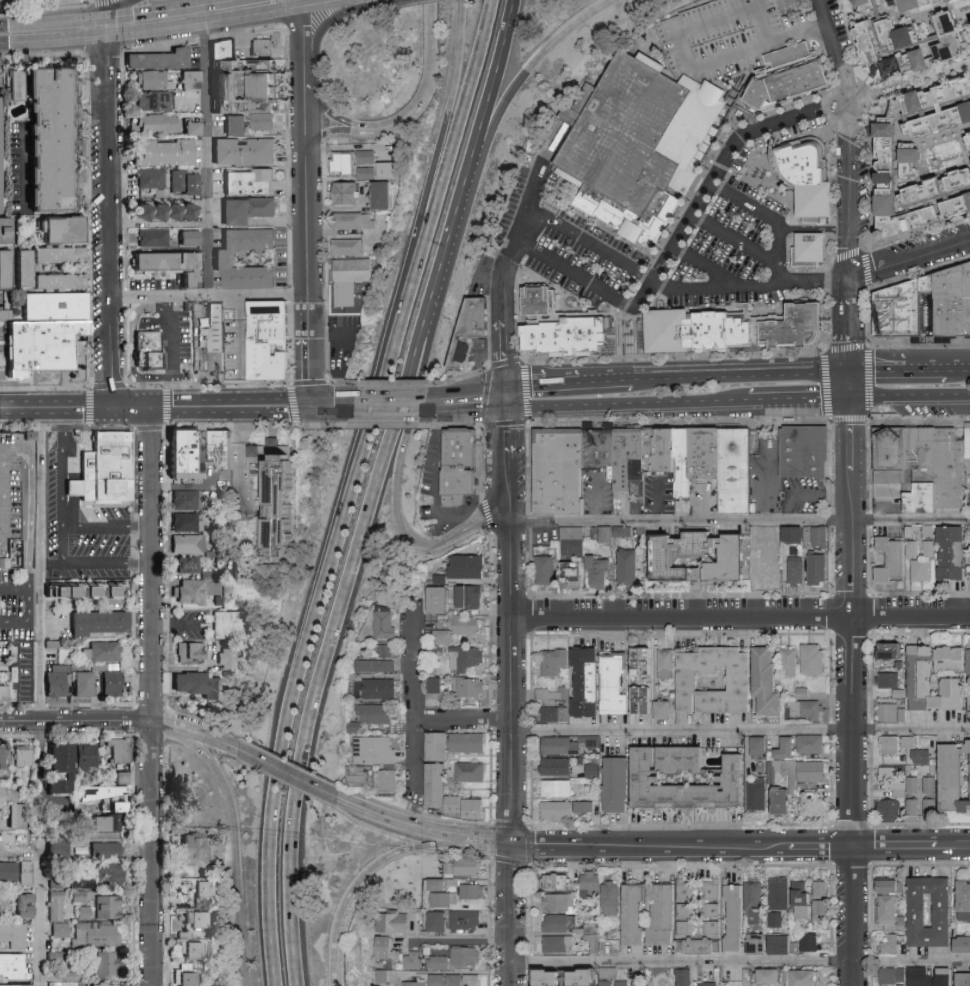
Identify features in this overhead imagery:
road: (370, 0)
road: (808, 1)
building: (872, 1)
building: (922, 2)
road: (305, 6)
road: (337, 7)
road: (159, 8)
road: (106, 9)
road: (124, 9)
traffic signals: (106, 18)
road: (254, 19)
road: (57, 21)
road: (327, 22)
road: (4, 25)
road: (106, 29)
building: (905, 32)
road: (155, 33)
building: (956, 35)
road: (306, 37)
parking lot: (732, 37)
traffic signals: (107, 41)
road: (58, 45)
road: (4, 50)
road: (432, 50)
building: (264, 52)
building: (879, 55)
building: (927, 57)
road: (687, 58)
building: (159, 60)
road: (529, 66)
building: (223, 73)
road: (306, 75)
building: (265, 76)
road: (493, 78)
building: (790, 78)
building: (152, 80)
building: (189, 80)
road: (910, 84)
building: (16, 89)
road: (307, 89)
building: (263, 100)
road: (450, 100)
road: (463, 100)
building: (152, 101)
building: (929, 104)
building: (914, 106)
road: (326, 110)
road: (401, 118)
building: (262, 122)
building: (155, 124)
building: (236, 126)
road: (362, 126)
building: (191, 129)
road: (338, 130)
road: (850, 135)
building: (51, 140)
building: (245, 151)
building: (163, 153)
building: (638, 154)
building: (365, 157)
building: (919, 160)
road: (205, 161)
building: (340, 162)
building: (365, 173)
building: (0, 175)
building: (893, 177)
building: (963, 178)
building: (152, 179)
building: (249, 182)
building: (184, 183)
building: (812, 189)
building: (931, 189)
building: (345, 194)
building: (381, 195)
road: (553, 201)
building: (961, 204)
building: (246, 210)
building: (164, 212)
road: (691, 215)
building: (929, 215)
road: (773, 220)
building: (352, 221)
road: (109, 224)
building: (61, 231)
building: (5, 232)
road: (523, 235)
parking lot: (690, 236)
building: (152, 237)
road: (449, 237)
building: (189, 238)
road: (733, 240)
building: (346, 247)
road: (308, 248)
building: (815, 254)
building: (59, 255)
road: (909, 257)
building: (223, 259)
building: (170, 265)
road: (705, 266)
building: (4, 269)
building: (23, 269)
building: (355, 275)
building: (59, 282)
road: (593, 285)
road: (750, 289)
road: (209, 296)
building: (538, 298)
building: (953, 302)
building: (54, 306)
building: (900, 311)
building: (6, 318)
road: (501, 320)
building: (798, 335)
building: (564, 338)
building: (271, 339)
building: (473, 339)
building: (674, 340)
building: (727, 342)
building: (213, 344)
building: (39, 347)
road: (170, 352)
building: (149, 353)
road: (646, 360)
road: (896, 367)
road: (957, 367)
traffic signals: (849, 368)
road: (527, 369)
road: (741, 373)
road: (608, 380)
road: (544, 383)
traffic signals: (506, 385)
road: (7, 392)
road: (467, 395)
road: (506, 397)
road: (909, 404)
road: (801, 405)
traffic signals: (849, 405)
road: (229, 406)
traffic signals: (310, 406)
road: (333, 406)
road: (392, 406)
road: (130, 407)
traffic signals: (149, 407)
road: (468, 407)
road: (630, 407)
road: (86, 408)
traffic signals: (111, 408)
road: (20, 409)
road: (51, 409)
traffic signals: (507, 409)
road: (507, 433)
road: (404, 450)
building: (598, 453)
building: (704, 457)
building: (808, 458)
building: (660, 459)
road: (0, 461)
building: (465, 463)
building: (681, 463)
building: (628, 464)
building: (924, 464)
building: (188, 467)
building: (226, 467)
building: (558, 472)
building: (741, 472)
building: (107, 478)
road: (771, 480)
parking lot: (7, 483)
road: (509, 489)
building: (285, 493)
road: (807, 494)
building: (17, 497)
building: (186, 499)
road: (26, 508)
road: (739, 521)
building: (188, 522)
road: (105, 524)
road: (479, 524)
building: (624, 530)
road: (60, 531)
building: (608, 533)
building: (796, 533)
building: (770, 534)
building: (820, 535)
building: (574, 540)
building: (189, 543)
building: (930, 547)
building: (954, 551)
building: (898, 554)
building: (705, 556)
road: (151, 563)
road: (40, 564)
building: (190, 564)
building: (468, 565)
building: (629, 566)
building: (547, 568)
building: (818, 568)
building: (767, 569)
building: (797, 569)
building: (922, 569)
building: (598, 570)
building: (575, 573)
building: (441, 578)
road: (320, 588)
building: (80, 590)
building: (118, 590)
road: (20, 591)
building: (191, 591)
building: (472, 595)
building: (442, 598)
road: (29, 607)
road: (740, 614)
parking lot: (18, 619)
building: (389, 619)
building: (101, 621)
building: (467, 623)
road: (20, 624)
road: (173, 624)
road: (851, 631)
building: (231, 632)
building: (445, 636)
road: (325, 647)
building: (896, 649)
building: (102, 650)
building: (192, 650)
building: (388, 650)
building: (229, 657)
building: (468, 657)
building: (955, 657)
building: (813, 658)
building: (646, 660)
building: (790, 660)
building: (556, 661)
building: (667, 662)
building: (377, 665)
building: (717, 679)
building: (890, 679)
building: (59, 680)
building: (588, 681)
building: (769, 681)
building: (934, 682)
building: (85, 683)
building: (114, 683)
road: (511, 683)
building: (202, 684)
building: (616, 684)
building: (472, 686)
building: (382, 687)
building: (438, 687)
building: (4, 692)
building: (804, 692)
building: (554, 694)
building: (646, 699)
road: (417, 702)
building: (969, 703)
building: (808, 708)
building: (665, 709)
building: (892, 711)
building: (378, 712)
building: (558, 713)
road: (464, 718)
road: (75, 720)
road: (166, 723)
building: (357, 726)
road: (741, 730)
road: (210, 738)
building: (910, 740)
building: (469, 742)
building: (812, 742)
building: (892, 743)
building: (440, 745)
building: (759, 745)
building: (788, 747)
building: (378, 749)
building: (121, 750)
building: (24, 755)
building: (922, 755)
building: (2, 756)
building: (88, 756)
building: (557, 765)
building: (65, 767)
building: (593, 769)
building: (813, 770)
building: (472, 771)
building: (891, 772)
building: (360, 773)
road: (285, 774)
road: (39, 775)
building: (647, 777)
building: (957, 777)
building: (910, 780)
building: (391, 781)
building: (619, 783)
building: (794, 784)
building: (931, 784)
building: (557, 787)
building: (111, 788)
building: (444, 789)
building: (759, 795)
building: (2, 796)
building: (814, 803)
building: (123, 806)
building: (588, 806)
building: (915, 806)
building: (930, 806)
building: (478, 808)
building: (558, 808)
building: (891, 808)
building: (19, 814)
building: (109, 822)
road: (392, 824)
road: (486, 843)
road: (742, 845)
road: (238, 846)
building: (60, 847)
building: (197, 848)
building: (107, 850)
road: (151, 853)
building: (466, 866)
building: (9, 869)
building: (27, 871)
building: (110, 874)
building: (57, 881)
building: (559, 881)
building: (83, 882)
road: (361, 883)
building: (441, 884)
building: (592, 884)
building: (894, 886)
building: (821, 887)
building: (208, 888)
building: (685, 888)
building: (472, 890)
building: (3, 895)
building: (82, 895)
building: (612, 897)
building: (446, 898)
building: (779, 899)
building: (966, 900)
building: (561, 901)
building: (808, 901)
building: (27, 905)
building: (56, 905)
building: (109, 906)
building: (712, 906)
building: (932, 910)
building: (687, 911)
building: (743, 911)
building: (84, 912)
building: (636, 913)
building: (665, 913)
building: (892, 913)
road: (512, 914)
road: (40, 917)
building: (200, 918)
building: (468, 919)
building: (395, 921)
building: (442, 921)
building: (558, 922)
building: (687, 927)
building: (60, 929)
building: (14, 934)
building: (96, 934)
building: (593, 935)
building: (810, 941)
building: (760, 942)
building: (560, 943)
building: (782, 944)
building: (893, 944)
building: (963, 944)
building: (192, 945)
building: (701, 945)
building: (389, 946)
building: (56, 955)
building: (469, 955)
building: (416, 960)
building: (441, 962)
road: (740, 962)
building: (107, 963)
building: (13, 964)
building: (189, 974)
building: (894, 974)
building: (771, 975)
building: (386, 976)
building: (556, 976)
building: (686, 976)
building: (921, 976)
building: (806, 977)
building: (946, 977)
building: (964, 978)
building: (449, 979)
building: (475, 979)
building: (625, 982)
building: (643, 982)
building: (419, 983)
building: (710, 983)
building: (104, 984)
building: (18, 985)

